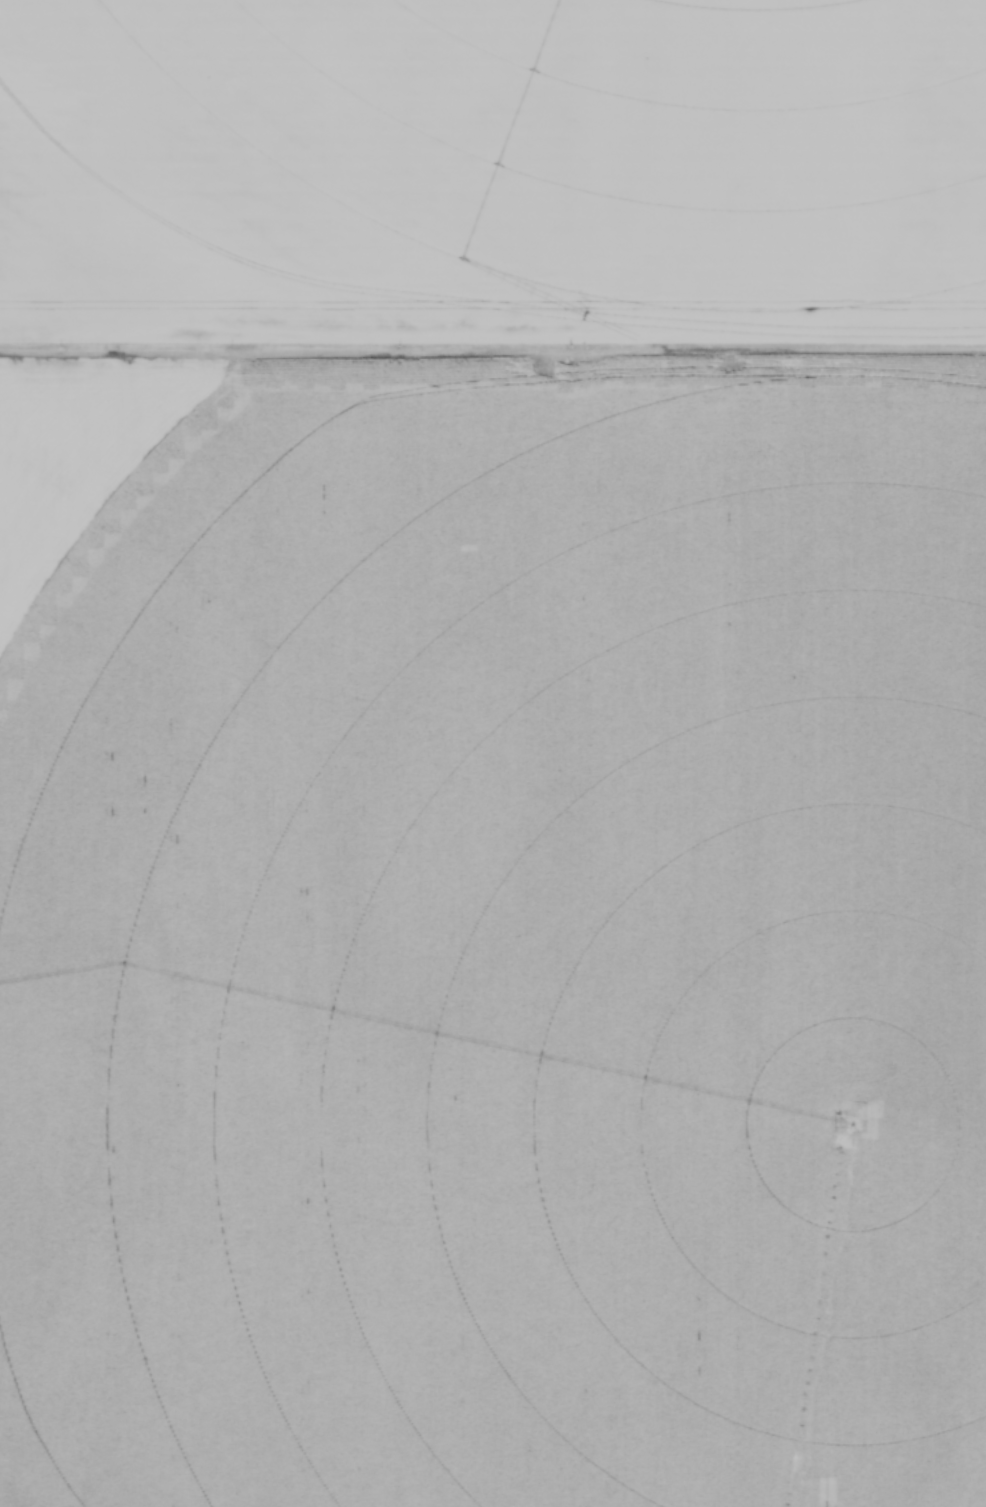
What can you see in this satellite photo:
road: (492, 354)
crop: (493, 753)

